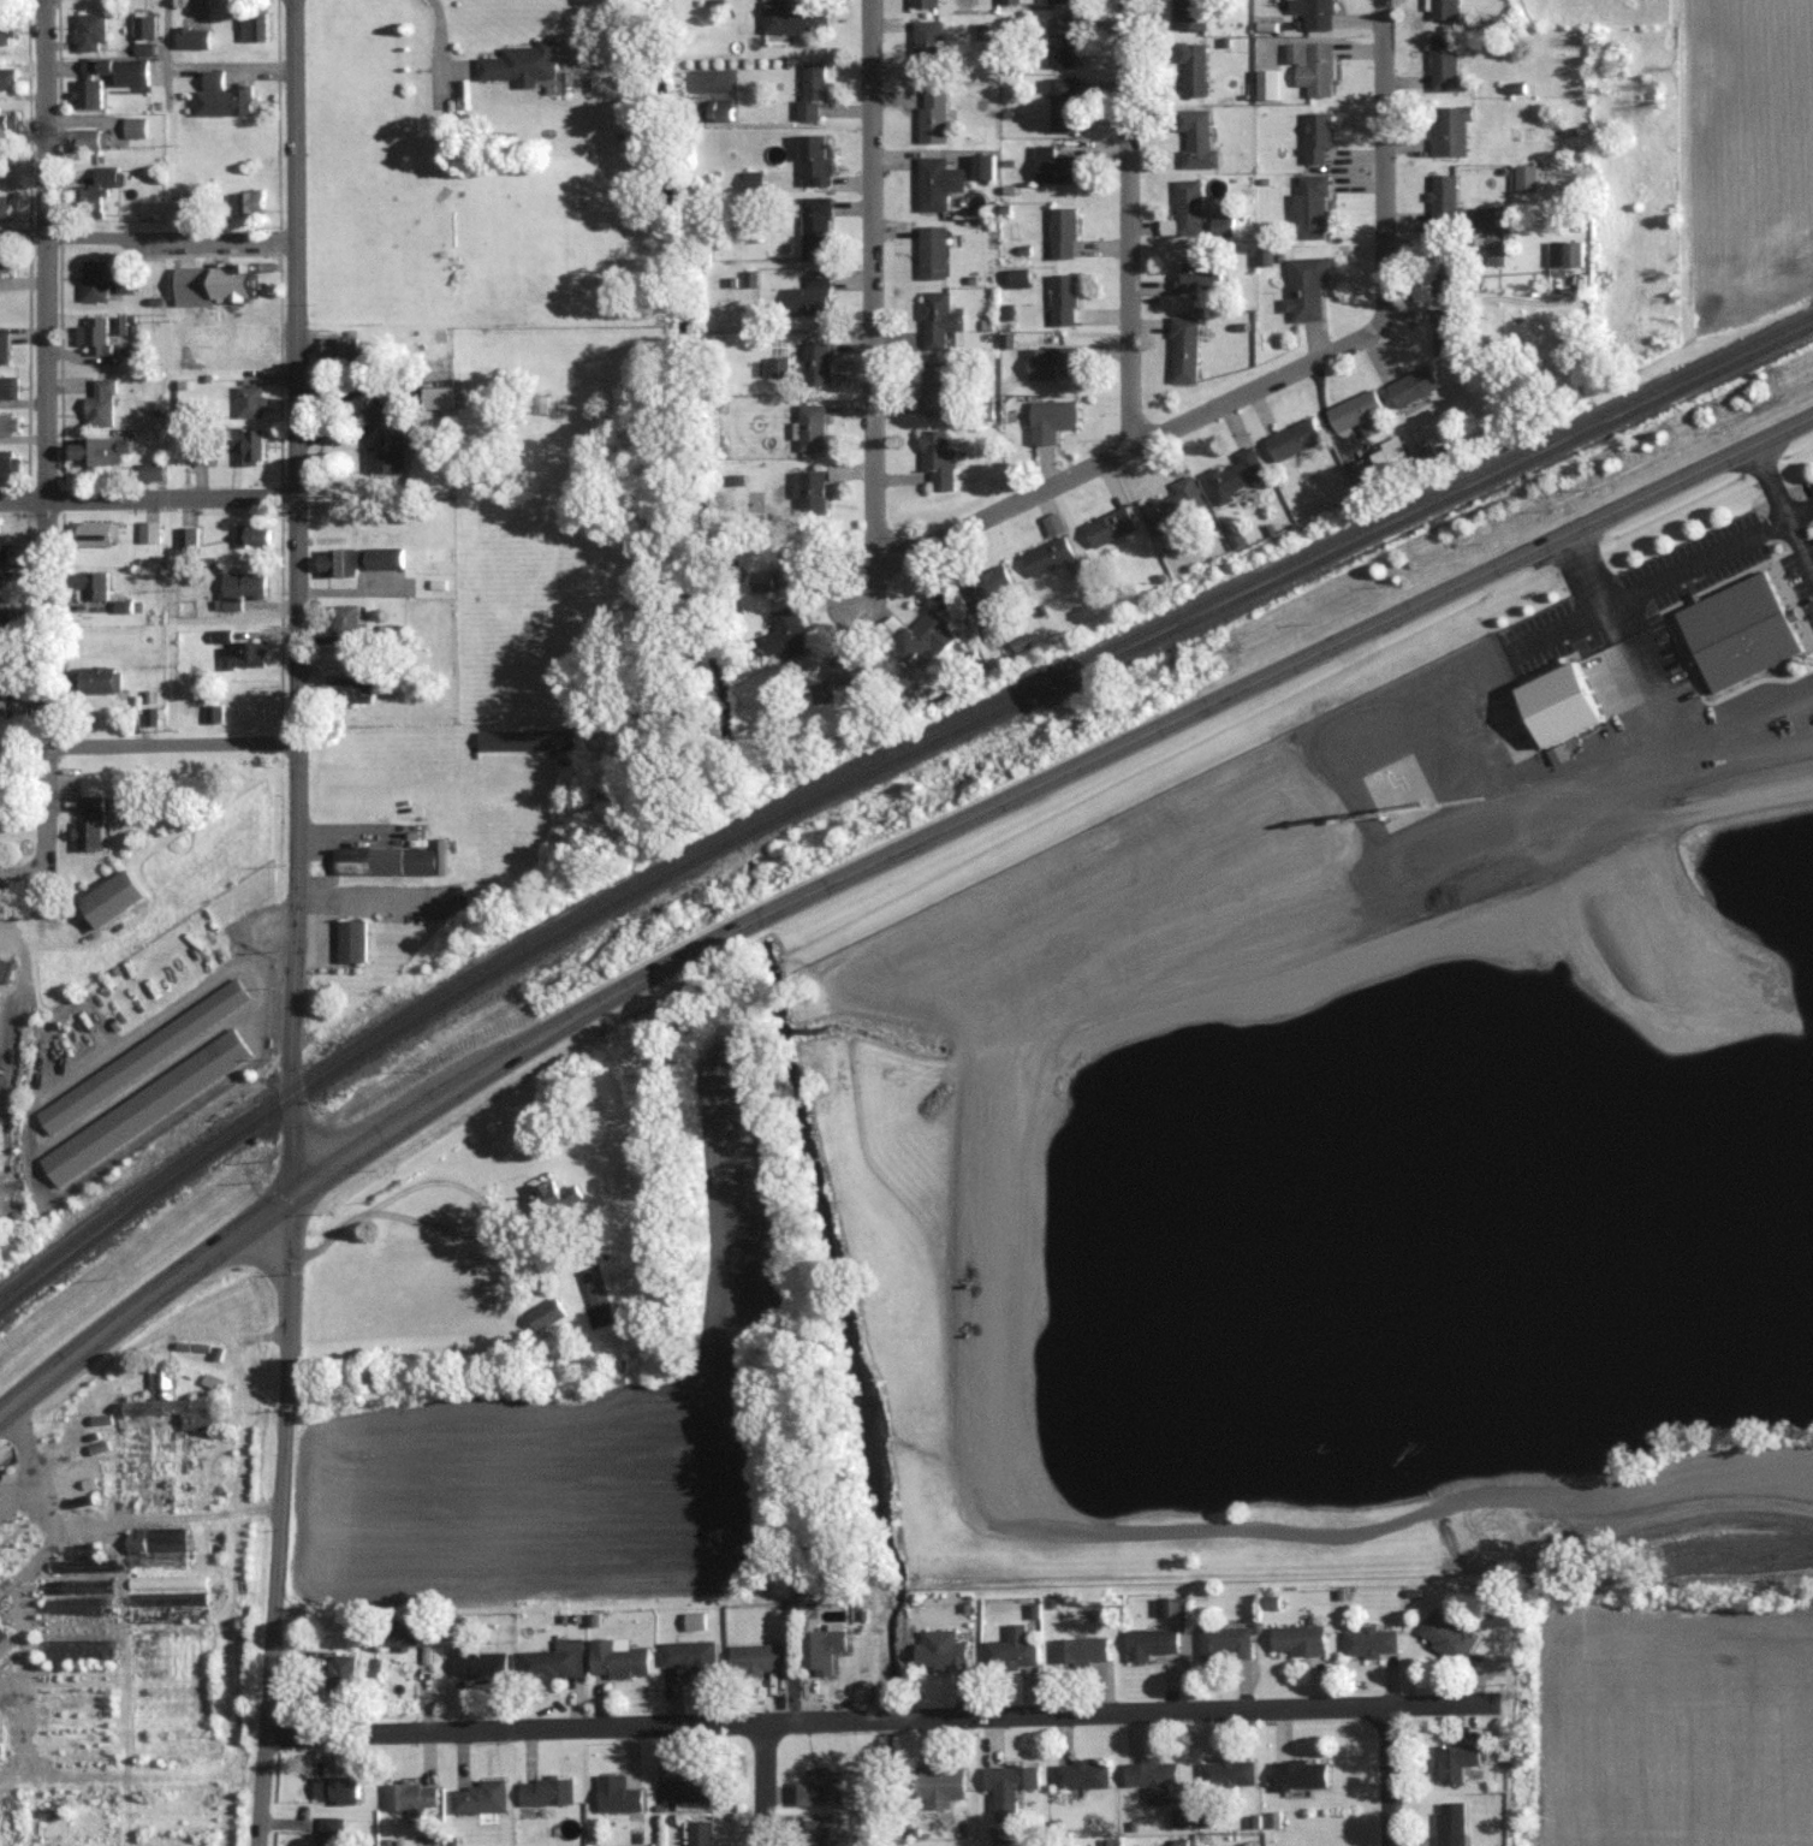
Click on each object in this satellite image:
building: (1062, 1)
building: (923, 4)
building: (1444, 8)
building: (1313, 13)
building: (1189, 14)
building: (791, 18)
building: (252, 25)
building: (143, 26)
building: (5, 31)
building: (88, 31)
building: (192, 37)
building: (1060, 42)
road: (434, 44)
building: (927, 48)
building: (1444, 61)
building: (522, 63)
building: (1191, 67)
building: (1312, 67)
building: (118, 70)
building: (5, 78)
building: (809, 90)
building: (87, 93)
building: (221, 97)
building: (1060, 103)
building: (719, 109)
building: (932, 114)
building: (6, 121)
building: (132, 126)
building: (1450, 129)
building: (1316, 137)
building: (1195, 138)
building: (85, 140)
building: (815, 159)
building: (982, 166)
building: (1051, 166)
building: (1526, 177)
building: (751, 180)
building: (935, 182)
building: (96, 190)
building: (1443, 197)
building: (245, 202)
building: (5, 204)
building: (1310, 204)
building: (182, 206)
building: (1184, 209)
road: (1128, 224)
building: (814, 227)
building: (1062, 232)
road: (170, 235)
parking lot: (198, 245)
building: (1494, 248)
building: (931, 251)
building: (1563, 253)
building: (5, 261)
building: (1450, 267)
building: (1197, 274)
building: (101, 278)
building: (1017, 278)
building: (233, 279)
road: (872, 283)
building: (1304, 287)
building: (808, 296)
building: (1062, 298)
building: (937, 317)
building: (1445, 331)
building: (94, 333)
parking lot: (226, 342)
building: (2, 344)
building: (340, 349)
building: (1182, 349)
building: (815, 362)
building: (1050, 362)
building: (777, 366)
road: (168, 370)
road: (1274, 376)
building: (8, 386)
building: (1411, 386)
building: (934, 388)
building: (249, 402)
building: (101, 404)
building: (540, 404)
building: (1355, 412)
building: (1048, 420)
building: (8, 425)
building: (810, 427)
road: (46, 434)
building: (385, 440)
building: (1291, 440)
building: (244, 444)
building: (197, 449)
building: (100, 450)
building: (1389, 457)
building: (935, 458)
building: (6, 462)
building: (150, 471)
building: (837, 471)
building: (1361, 471)
building: (1235, 474)
building: (807, 492)
road: (147, 497)
building: (1172, 505)
road: (1615, 511)
road: (1800, 514)
building: (1106, 527)
building: (148, 532)
building: (607, 533)
building: (91, 534)
building: (251, 535)
building: (186, 536)
road: (1797, 550)
building: (790, 554)
building: (1045, 554)
building: (357, 560)
road: (1698, 563)
road: (863, 580)
building: (93, 584)
building: (239, 588)
building: (987, 593)
building: (1, 619)
building: (344, 621)
road: (1557, 628)
building: (1738, 630)
building: (786, 631)
building: (922, 634)
building: (239, 651)
building: (854, 671)
building: (97, 678)
building: (356, 683)
building: (820, 691)
building: (1557, 704)
building: (1, 707)
building: (525, 740)
road: (171, 743)
railway: (879, 755)
railway: (879, 767)
road: (1072, 768)
building: (2, 808)
building: (89, 823)
building: (384, 860)
building: (109, 898)
road: (293, 924)
building: (350, 940)
building: (142, 1056)
building: (144, 1108)
road: (382, 1108)
road: (352, 1153)
road: (460, 1187)
building: (557, 1199)
building: (539, 1241)
road: (255, 1264)
building: (545, 1314)
building: (160, 1424)
building: (155, 1545)
building: (79, 1566)
building: (409, 1632)
building: (1, 1636)
building: (1445, 1636)
building: (1296, 1639)
building: (1368, 1640)
building: (1149, 1643)
building: (1224, 1643)
building: (1010, 1649)
building: (939, 1650)
building: (1078, 1650)
building: (821, 1651)
building: (688, 1655)
building: (616, 1658)
building: (757, 1658)
building: (553, 1661)
building: (478, 1664)
building: (340, 1679)
road: (882, 1719)
building: (1452, 1761)
building: (1226, 1771)
building: (1297, 1774)
building: (1080, 1775)
road: (1390, 1775)
building: (1152, 1779)
building: (1007, 1780)
road: (767, 1783)
building: (939, 1785)
building: (688, 1787)
building: (820, 1787)
building: (333, 1789)
building: (545, 1791)
building: (617, 1794)
building: (480, 1795)
building: (409, 1797)
building: (1449, 1823)
building: (327, 1830)
building: (699, 1833)
building: (815, 1833)

